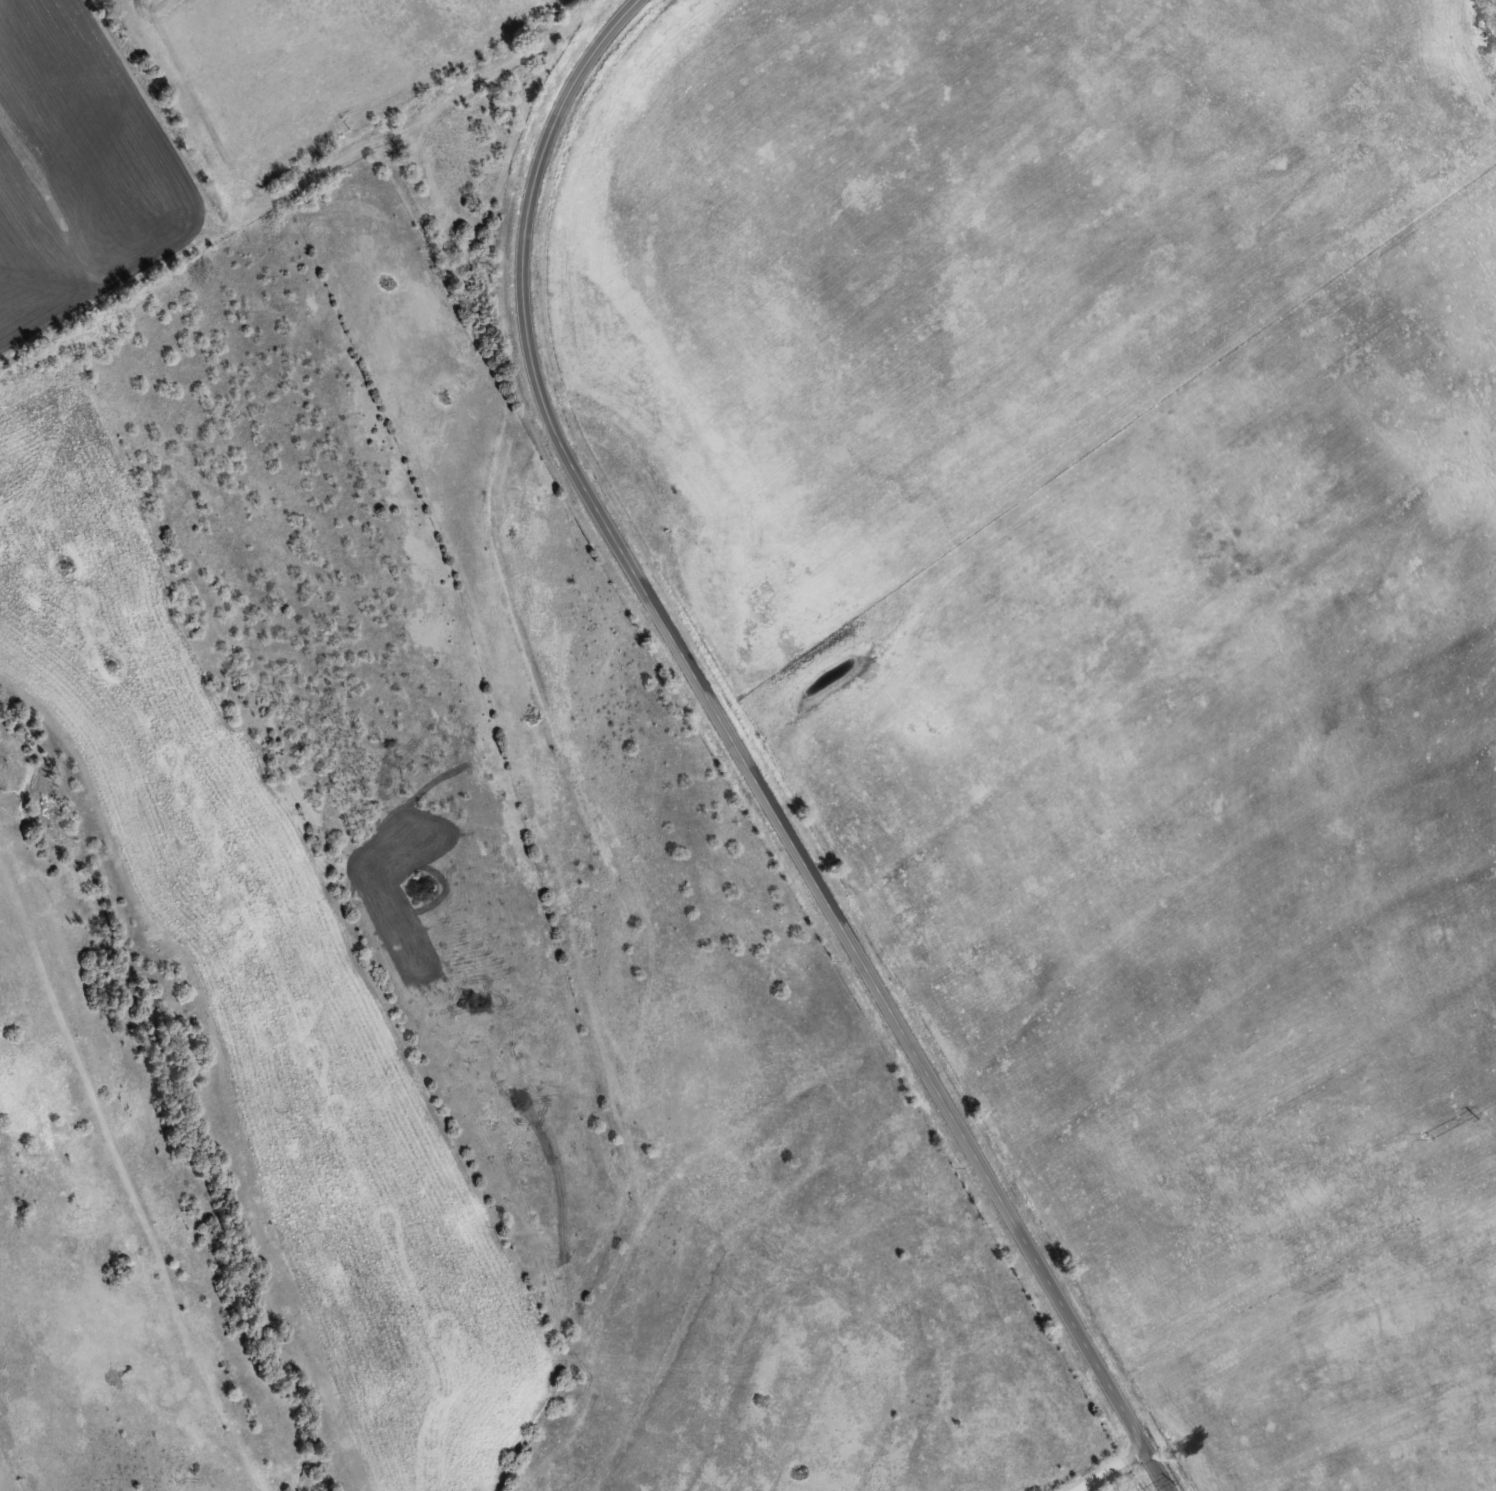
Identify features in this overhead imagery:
road: (752, 759)
power tower: (1427, 1135)
road: (1122, 1470)

